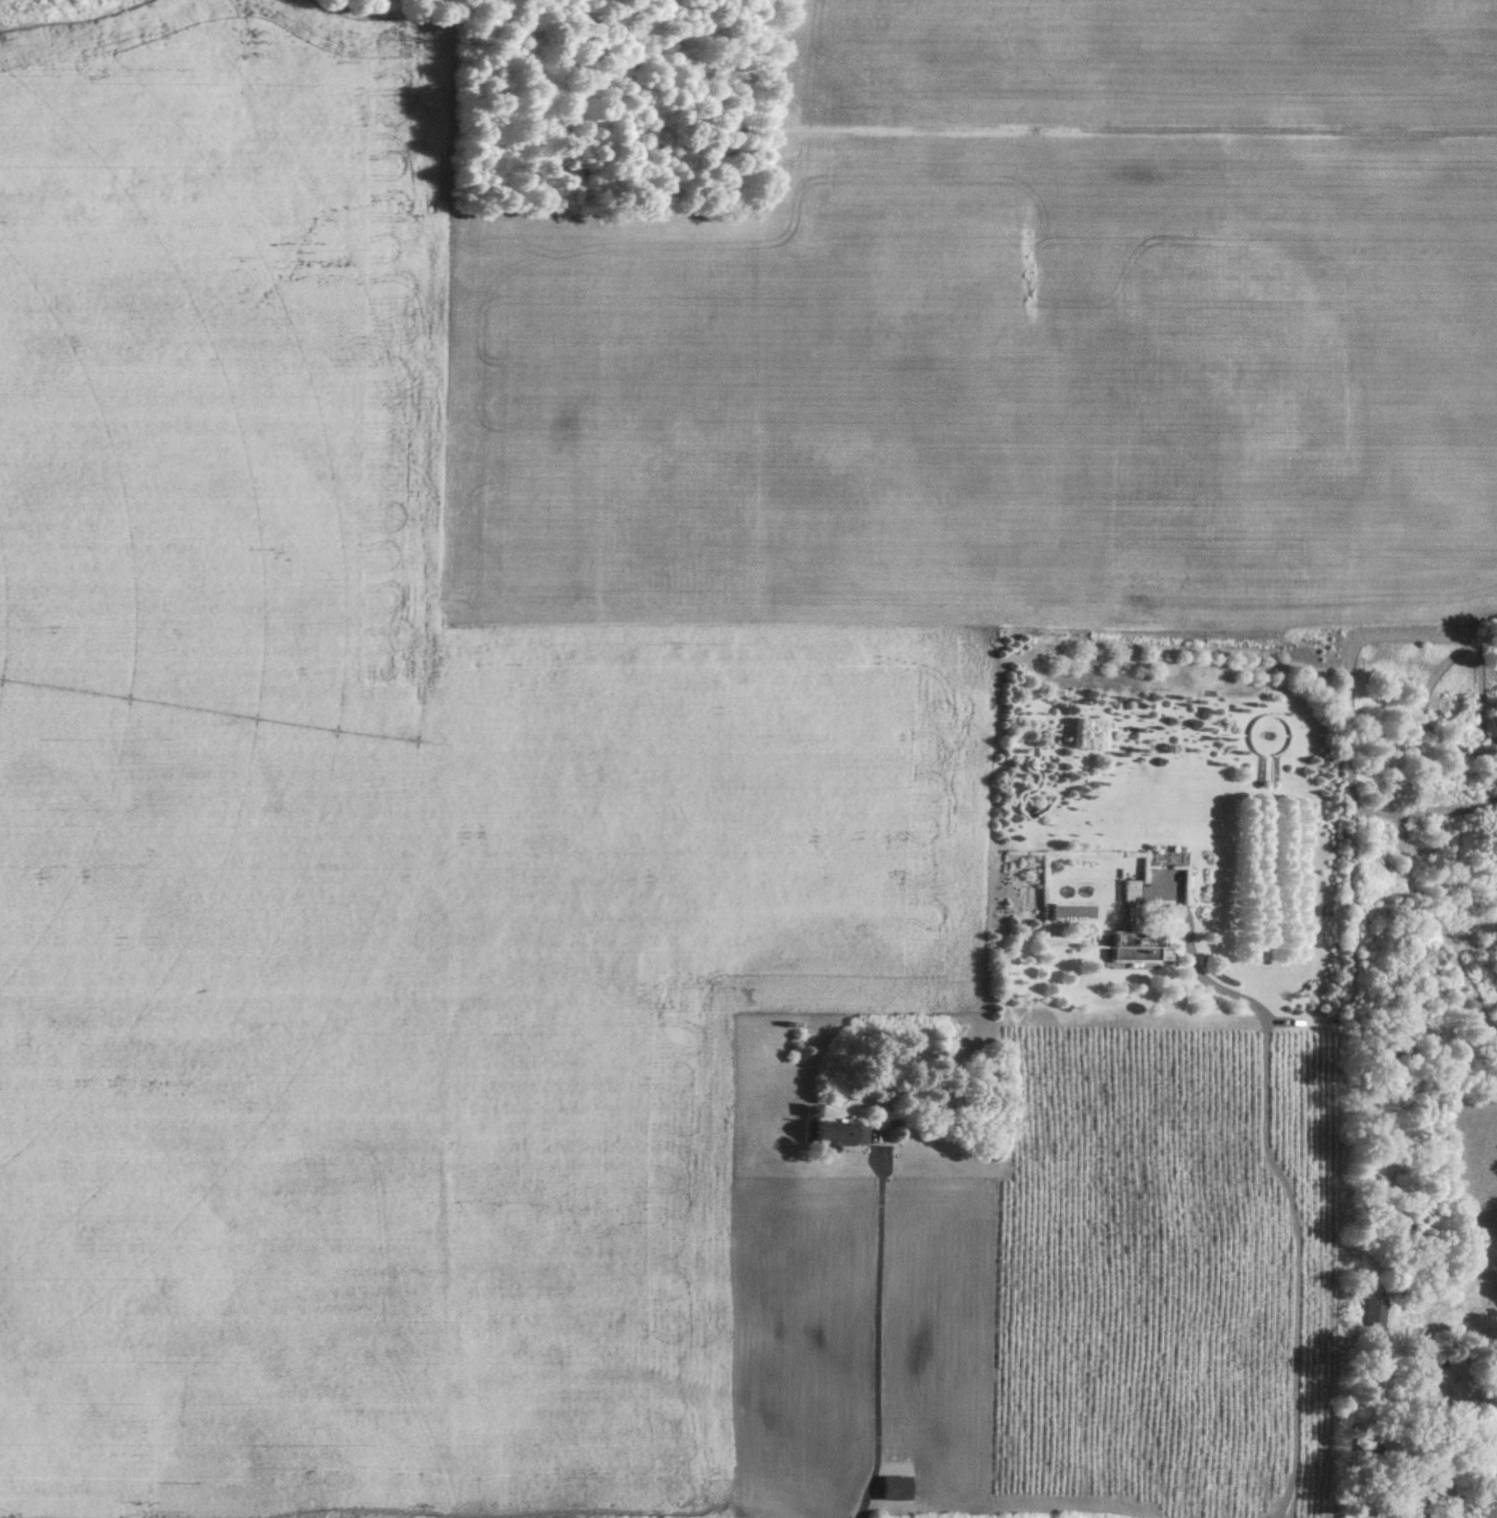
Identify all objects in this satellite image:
building: (1131, 902)
building: (1136, 951)
building: (829, 1133)
road: (1285, 1176)
building: (1376, 1312)
road: (879, 1338)
building: (887, 1488)

